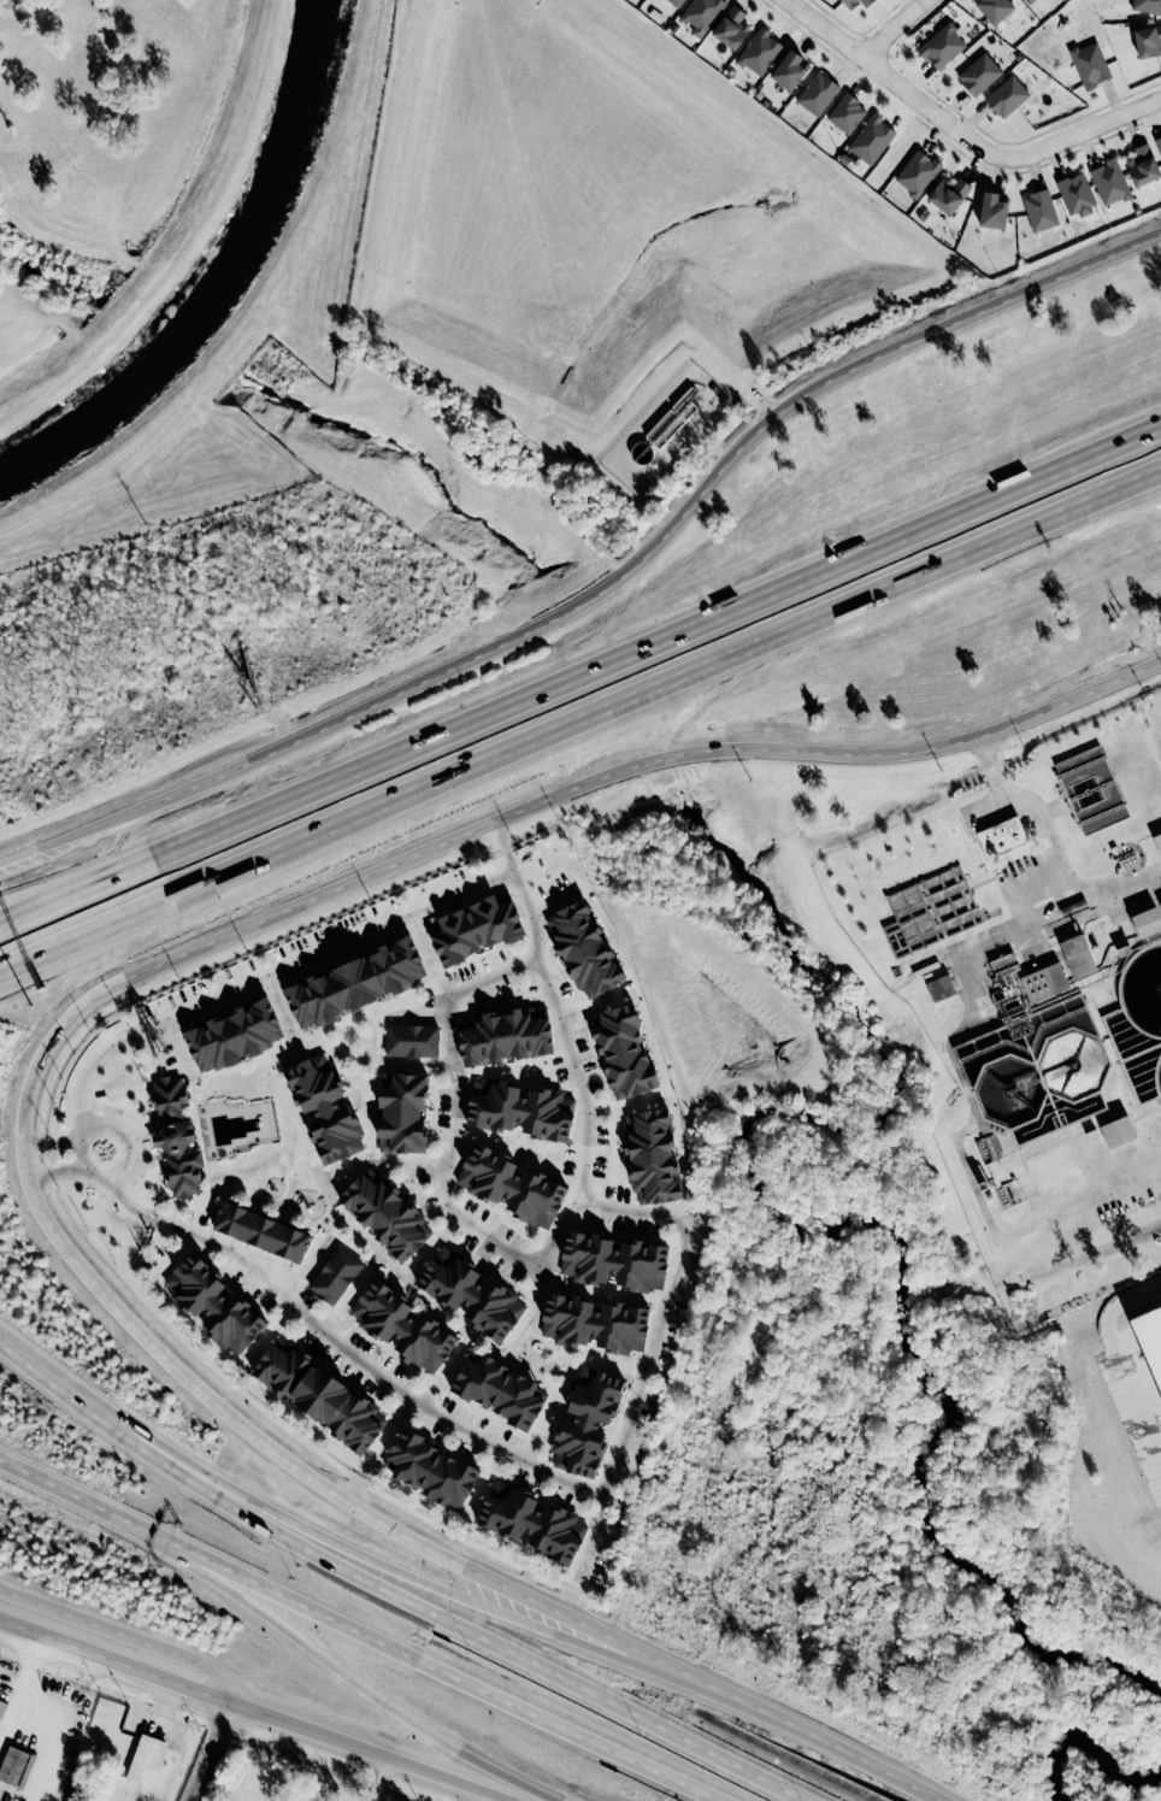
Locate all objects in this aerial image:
building: (1029, 1)
building: (676, 2)
building: (849, 5)
building: (1147, 6)
building: (994, 8)
building: (701, 13)
building: (731, 28)
road: (895, 30)
building: (1148, 41)
building: (942, 46)
building: (759, 51)
building: (1090, 64)
building: (789, 69)
building: (978, 73)
road: (890, 82)
building: (817, 93)
building: (1006, 96)
building: (845, 113)
road: (1082, 129)
building: (870, 139)
building: (1159, 143)
building: (1142, 165)
building: (917, 172)
building: (1109, 182)
building: (948, 194)
building: (1075, 194)
building: (1039, 210)
building: (992, 211)
road: (606, 587)
road: (702, 628)
road: (865, 655)
road: (630, 705)
road: (921, 749)
building: (1091, 789)
road: (983, 802)
building: (1002, 836)
road: (497, 837)
building: (1157, 841)
road: (122, 864)
road: (390, 864)
road: (122, 878)
road: (1119, 888)
road: (1073, 900)
building: (1147, 922)
building: (475, 929)
road: (420, 940)
road: (48, 948)
building: (583, 948)
road: (319, 949)
road: (48, 954)
building: (1077, 955)
building: (1044, 982)
building: (356, 983)
building: (941, 989)
wastewater plant: (1030, 989)
road: (591, 1005)
road: (282, 1012)
wastewater plant: (1139, 1022)
building: (235, 1035)
building: (505, 1037)
building: (411, 1040)
road: (176, 1044)
building: (624, 1053)
road: (83, 1071)
wastewater plant: (1044, 1087)
road: (580, 1088)
road: (623, 1105)
building: (325, 1108)
building: (520, 1110)
building: (402, 1112)
building: (1118, 1132)
building: (176, 1138)
road: (454, 1140)
road: (51, 1142)
building: (652, 1156)
road: (383, 1160)
road: (87, 1167)
road: (57, 1173)
building: (511, 1187)
road: (982, 1202)
road: (124, 1203)
building: (385, 1214)
road: (114, 1217)
building: (261, 1231)
road: (175, 1255)
building: (613, 1261)
road: (307, 1269)
building: (335, 1276)
building: (471, 1294)
road: (346, 1301)
building: (213, 1303)
building: (594, 1324)
building: (403, 1328)
road: (270, 1335)
road: (614, 1366)
road: (372, 1370)
road: (442, 1376)
building: (499, 1389)
building: (319, 1395)
road: (226, 1413)
road: (631, 1414)
building: (585, 1422)
road: (538, 1430)
road: (387, 1437)
building: (431, 1470)
road: (353, 1488)
road: (64, 1493)
building: (531, 1523)
road: (395, 1583)
road: (499, 1613)
road: (123, 1634)
road: (113, 1658)
road: (425, 1662)
road: (335, 1666)
road: (33, 1681)
building: (2, 1708)
road: (819, 1741)
road: (207, 1749)
road: (371, 1749)
building: (147, 1760)
building: (14, 1765)

